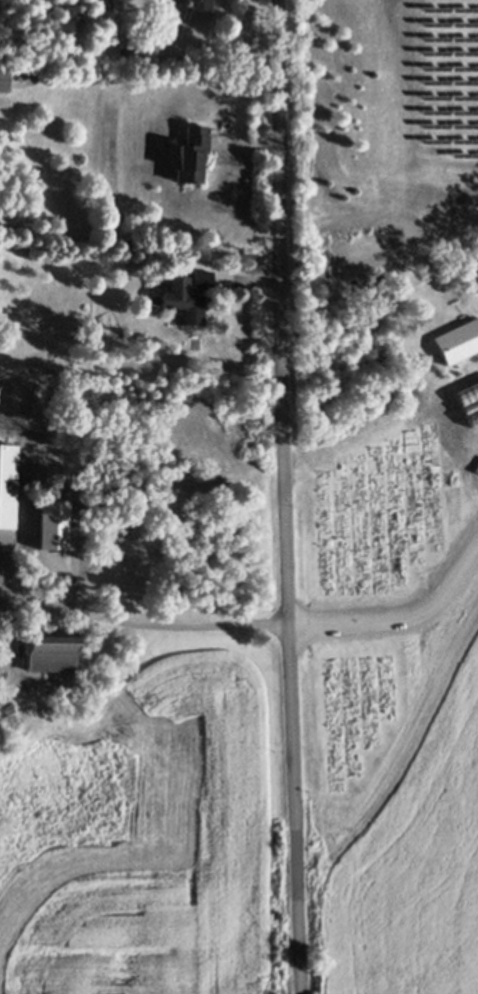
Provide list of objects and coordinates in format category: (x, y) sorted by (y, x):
building: (201, 4)
building: (3, 80)
solar farm: (446, 84)
building: (192, 153)
road: (250, 157)
building: (202, 278)
building: (473, 281)
road: (249, 292)
building: (183, 300)
building: (457, 343)
road: (382, 439)
building: (7, 484)
road: (285, 497)
building: (50, 530)
road: (67, 588)
road: (139, 631)
building: (46, 654)

